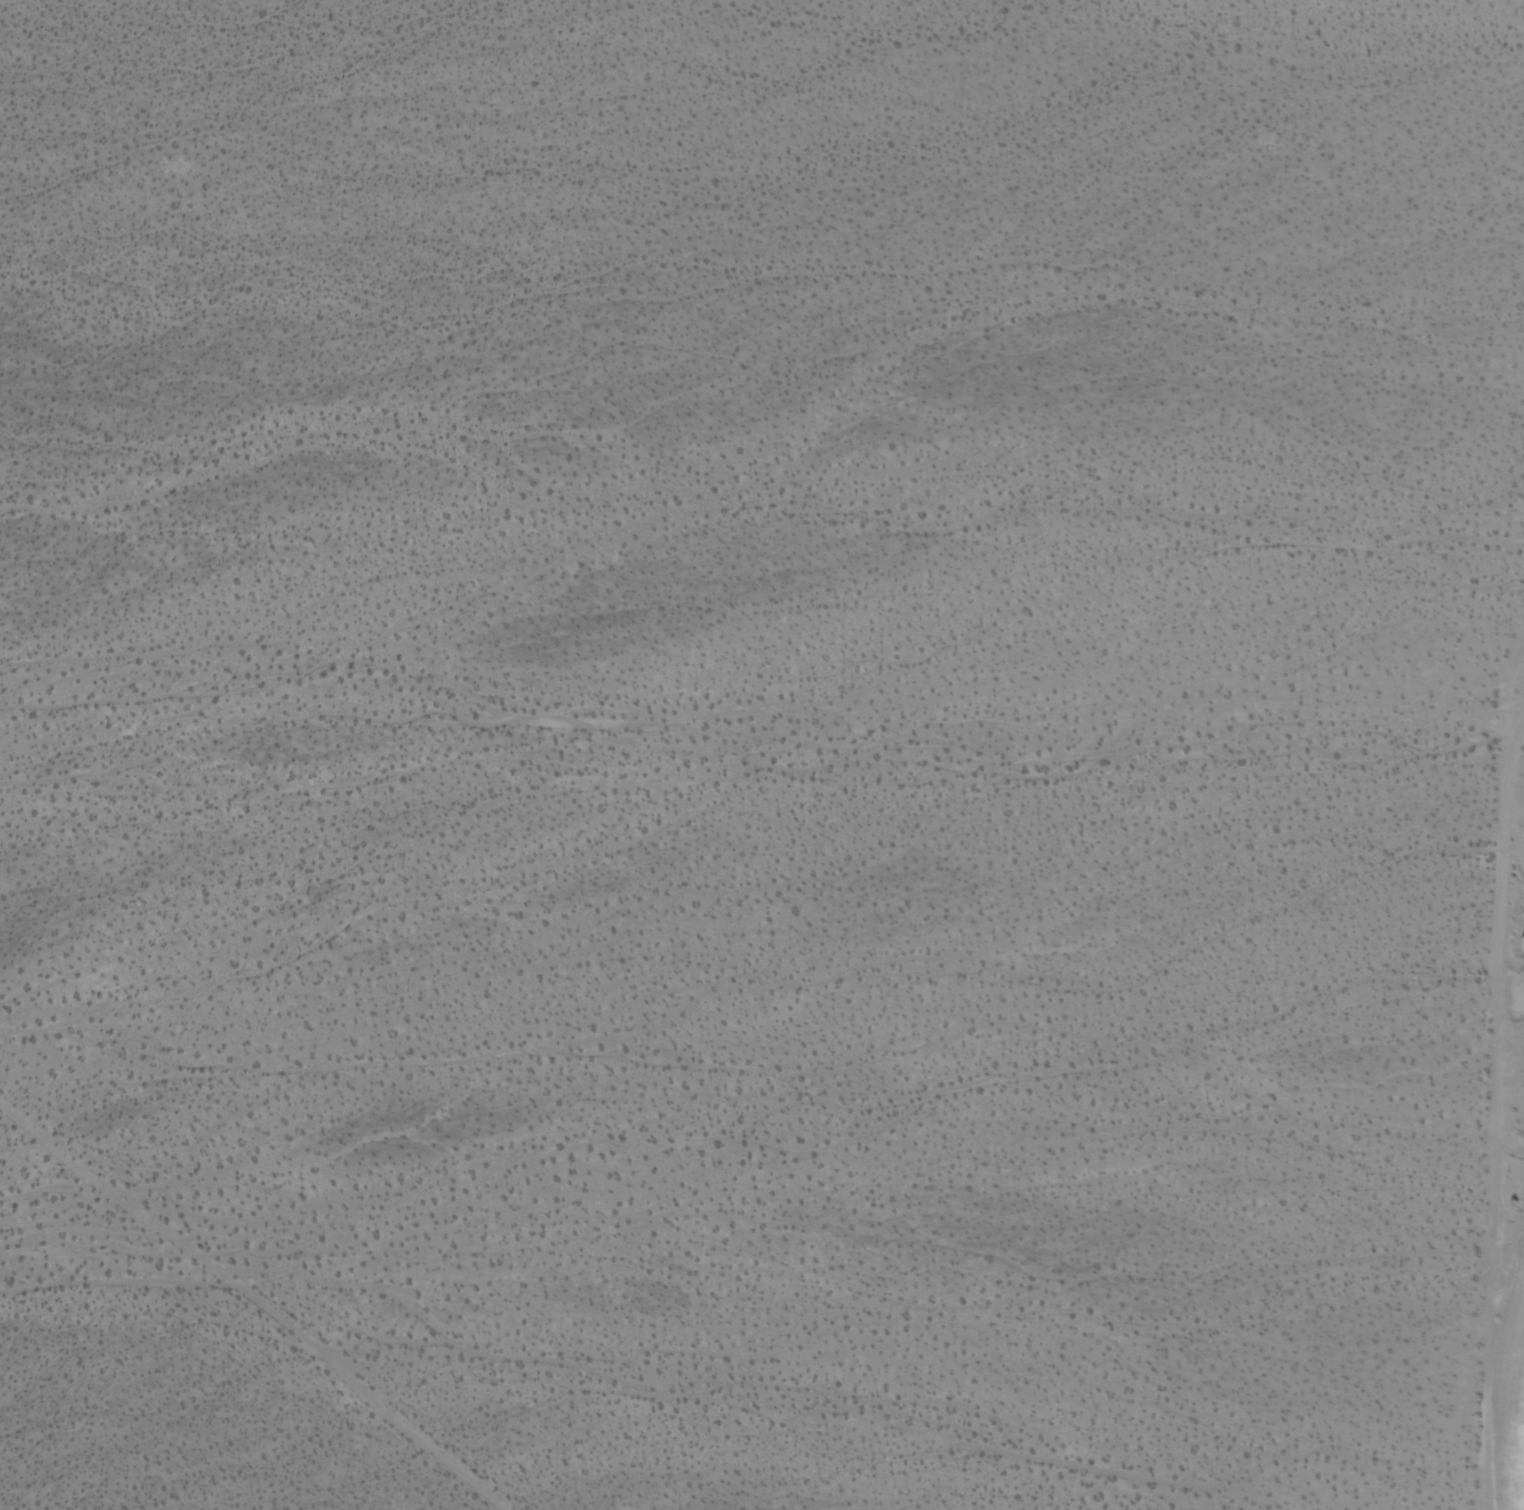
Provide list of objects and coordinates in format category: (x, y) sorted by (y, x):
road: (1509, 1182)
road: (225, 1328)
crop: (1523, 1500)

